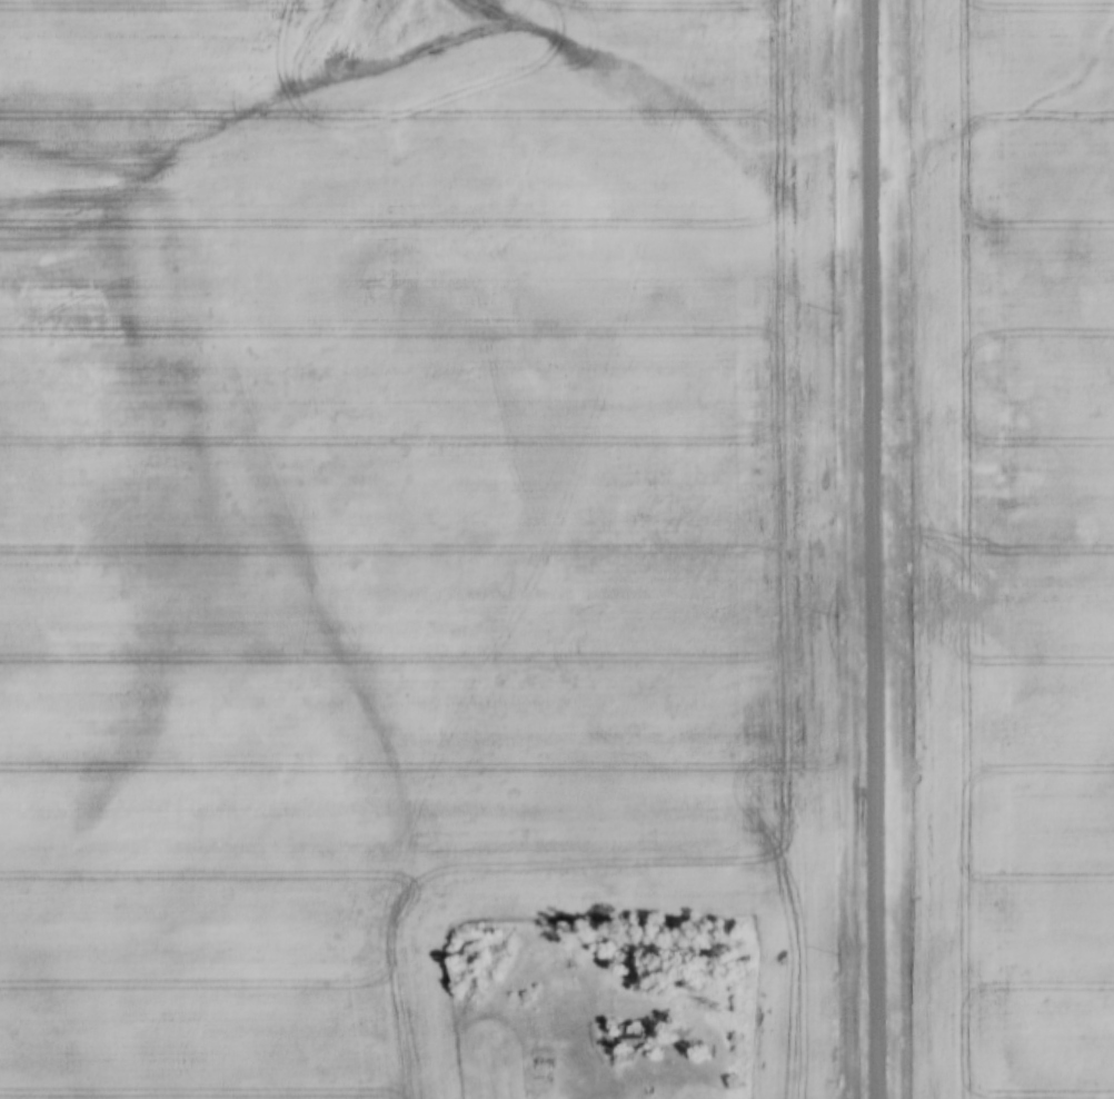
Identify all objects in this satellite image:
road: (874, 549)
building: (633, 1038)

